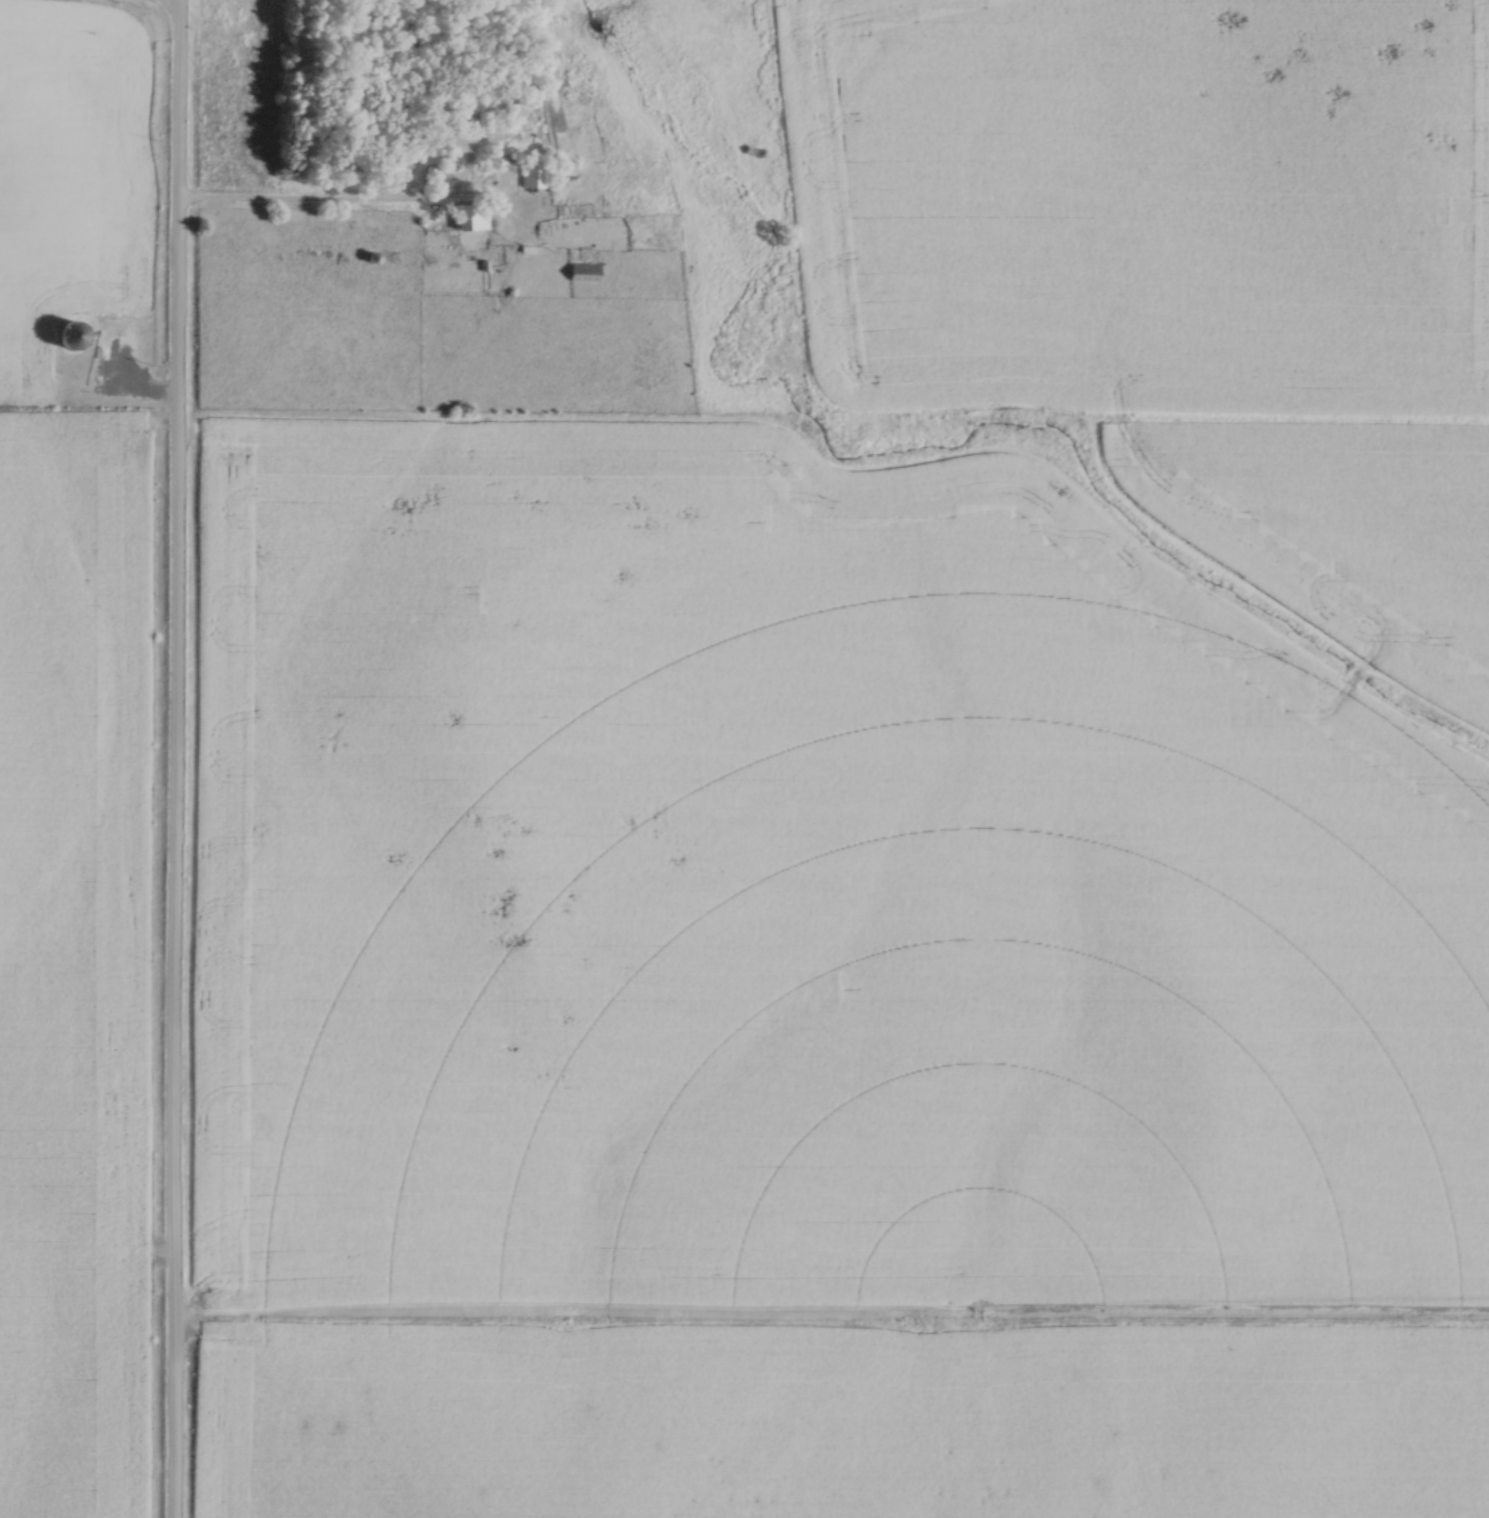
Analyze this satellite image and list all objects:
building: (509, 99)
building: (468, 109)
building: (563, 169)
building: (533, 174)
building: (433, 176)
road: (308, 204)
building: (469, 218)
building: (583, 272)
building: (67, 337)
road: (178, 759)
road: (392, 1158)

